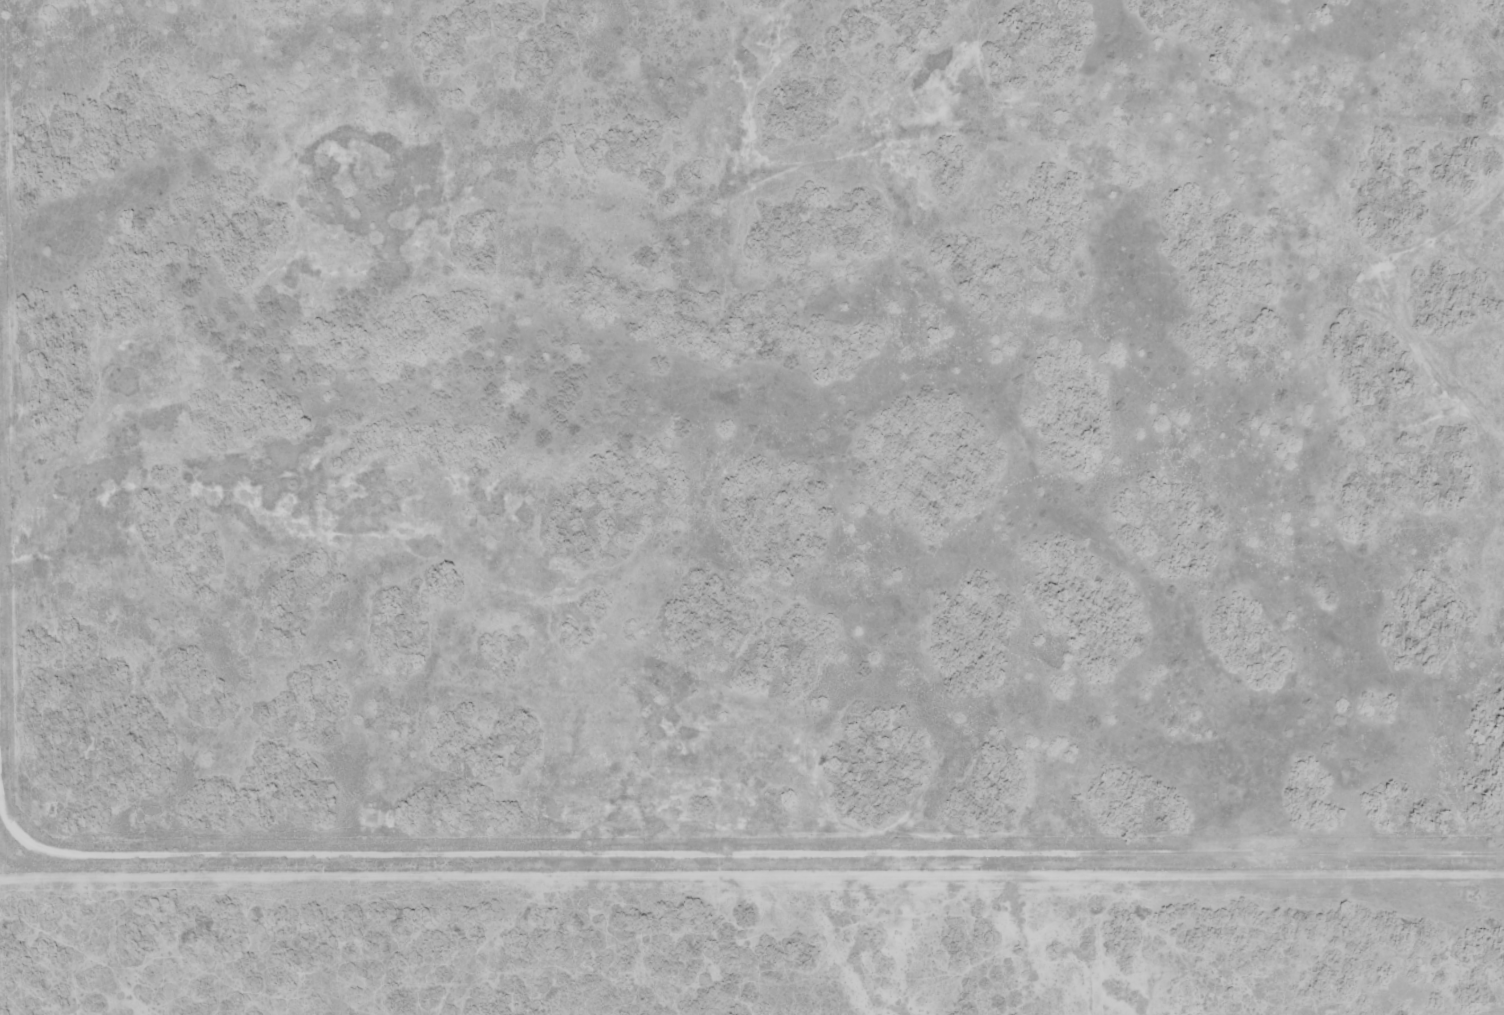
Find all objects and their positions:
road: (0, 1006)

